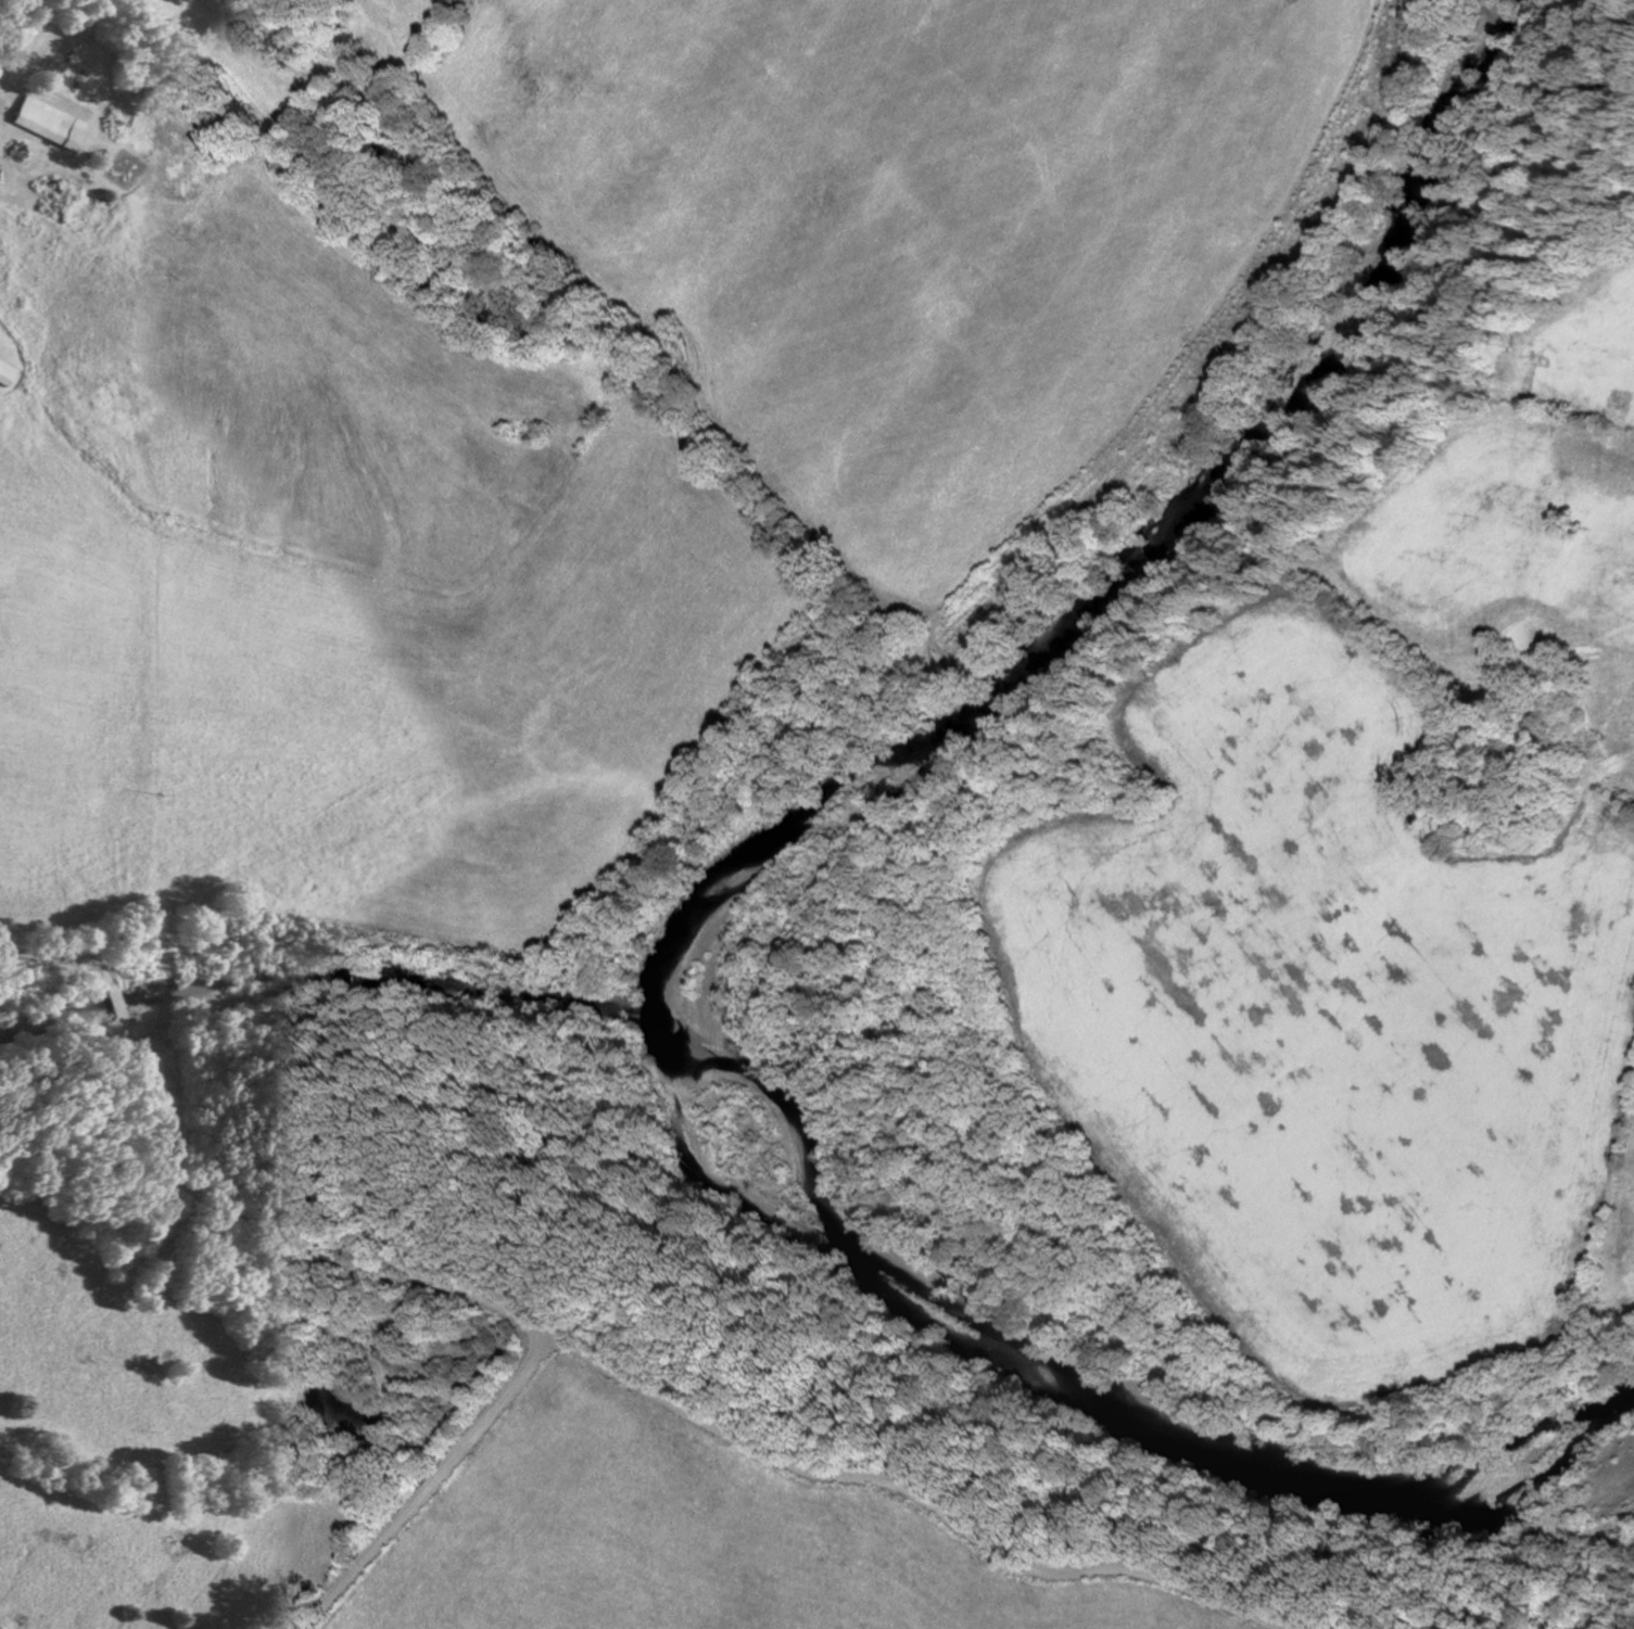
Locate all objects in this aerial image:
road: (10, 14)
building: (34, 119)
building: (7, 371)
road: (217, 1205)
road: (430, 1480)
road: (916, 1490)

